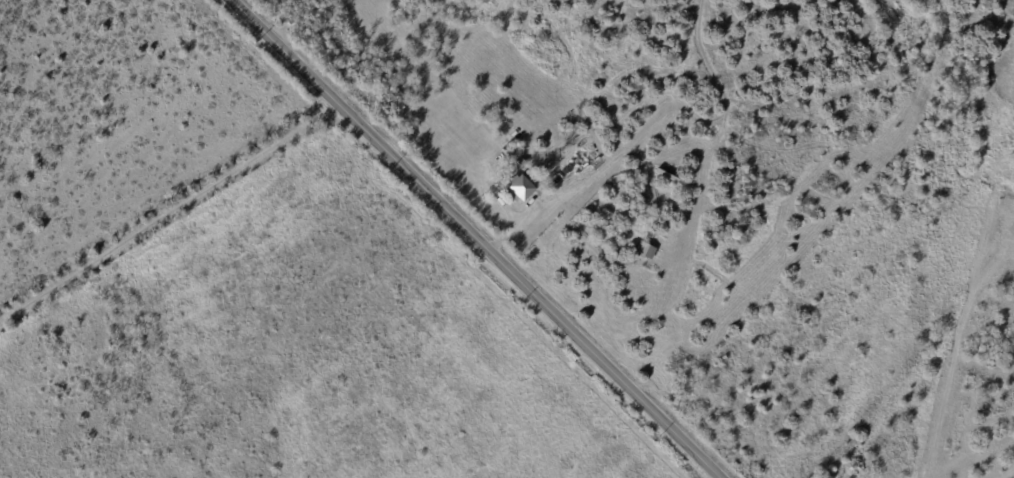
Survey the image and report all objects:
building: (491, 119)
building: (478, 125)
building: (514, 151)
building: (523, 165)
building: (669, 177)
building: (519, 189)
building: (644, 190)
road: (168, 214)
building: (665, 221)
road: (475, 239)
building: (646, 251)

